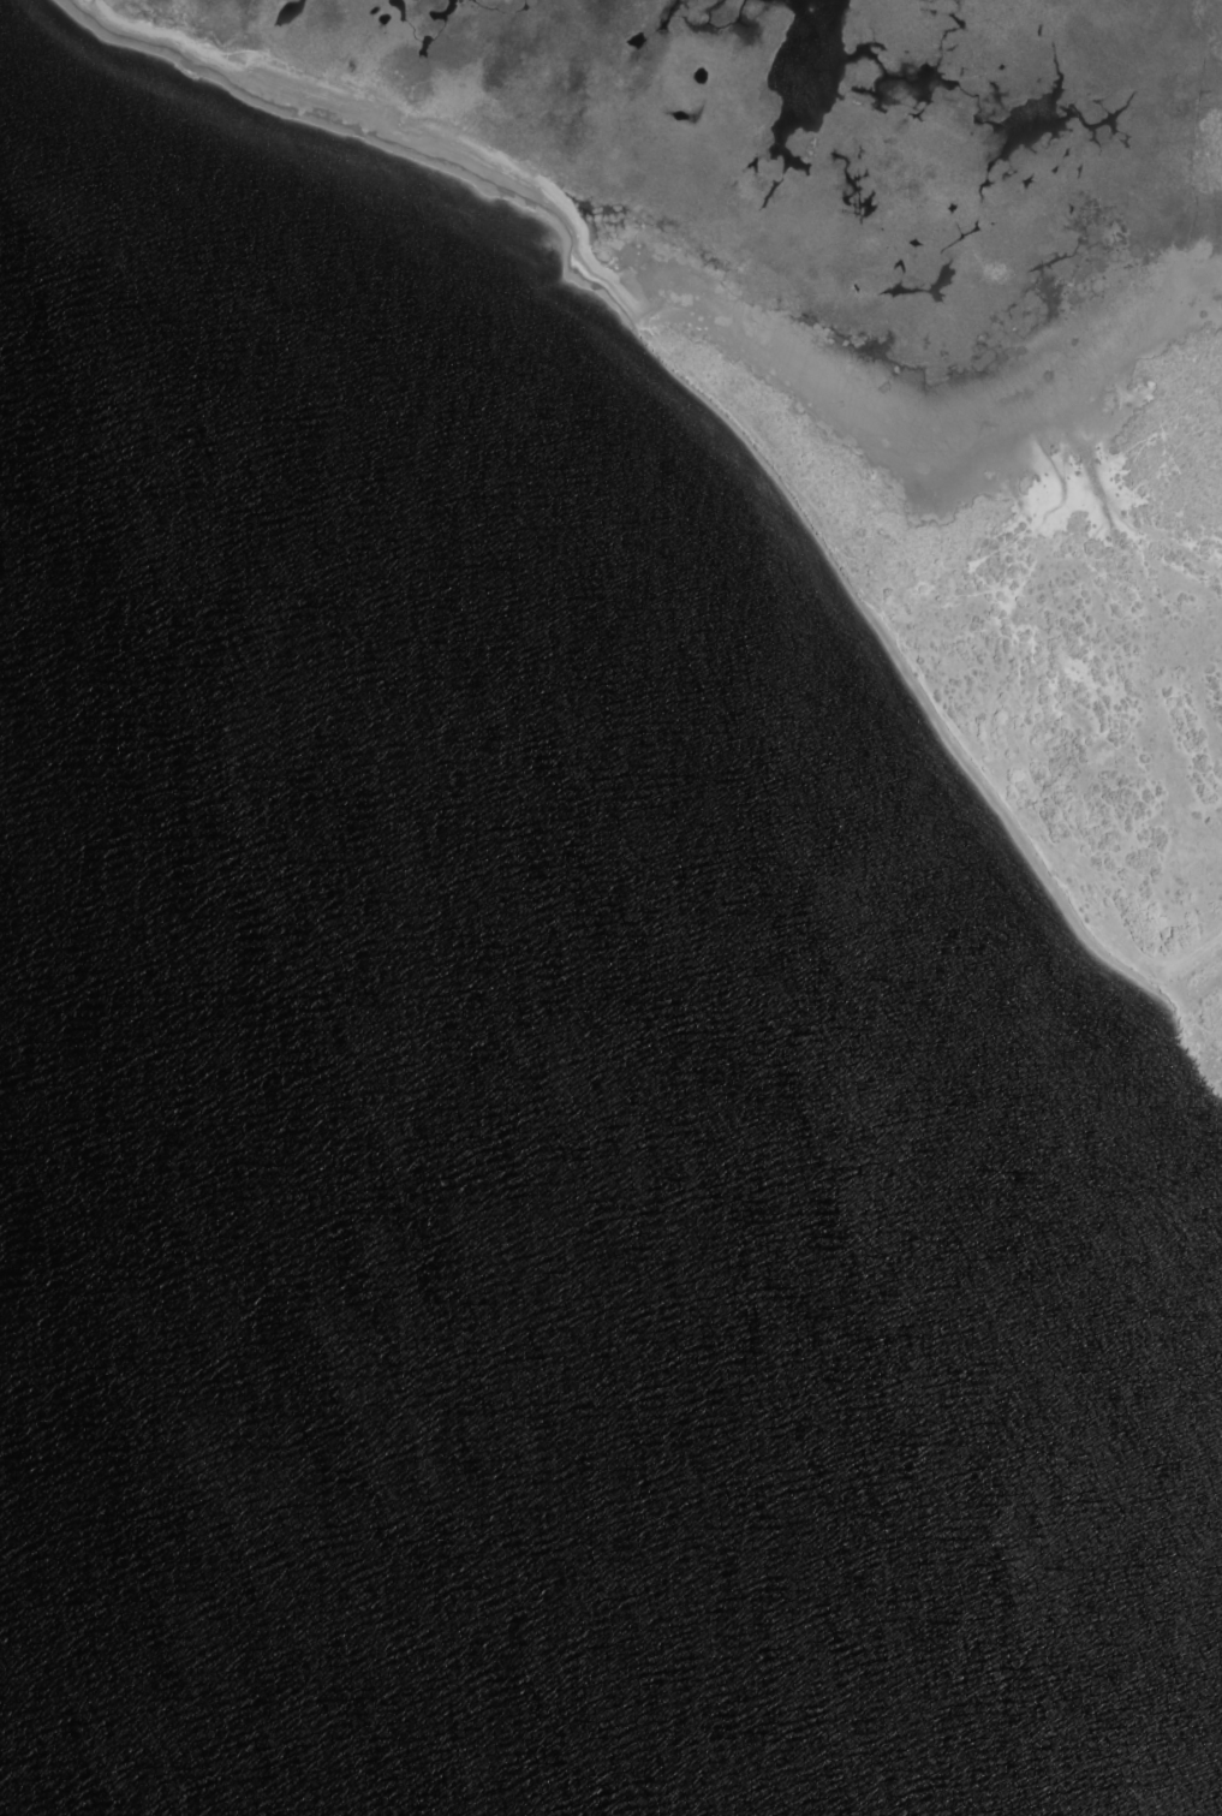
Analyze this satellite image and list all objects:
road: (1196, 951)

